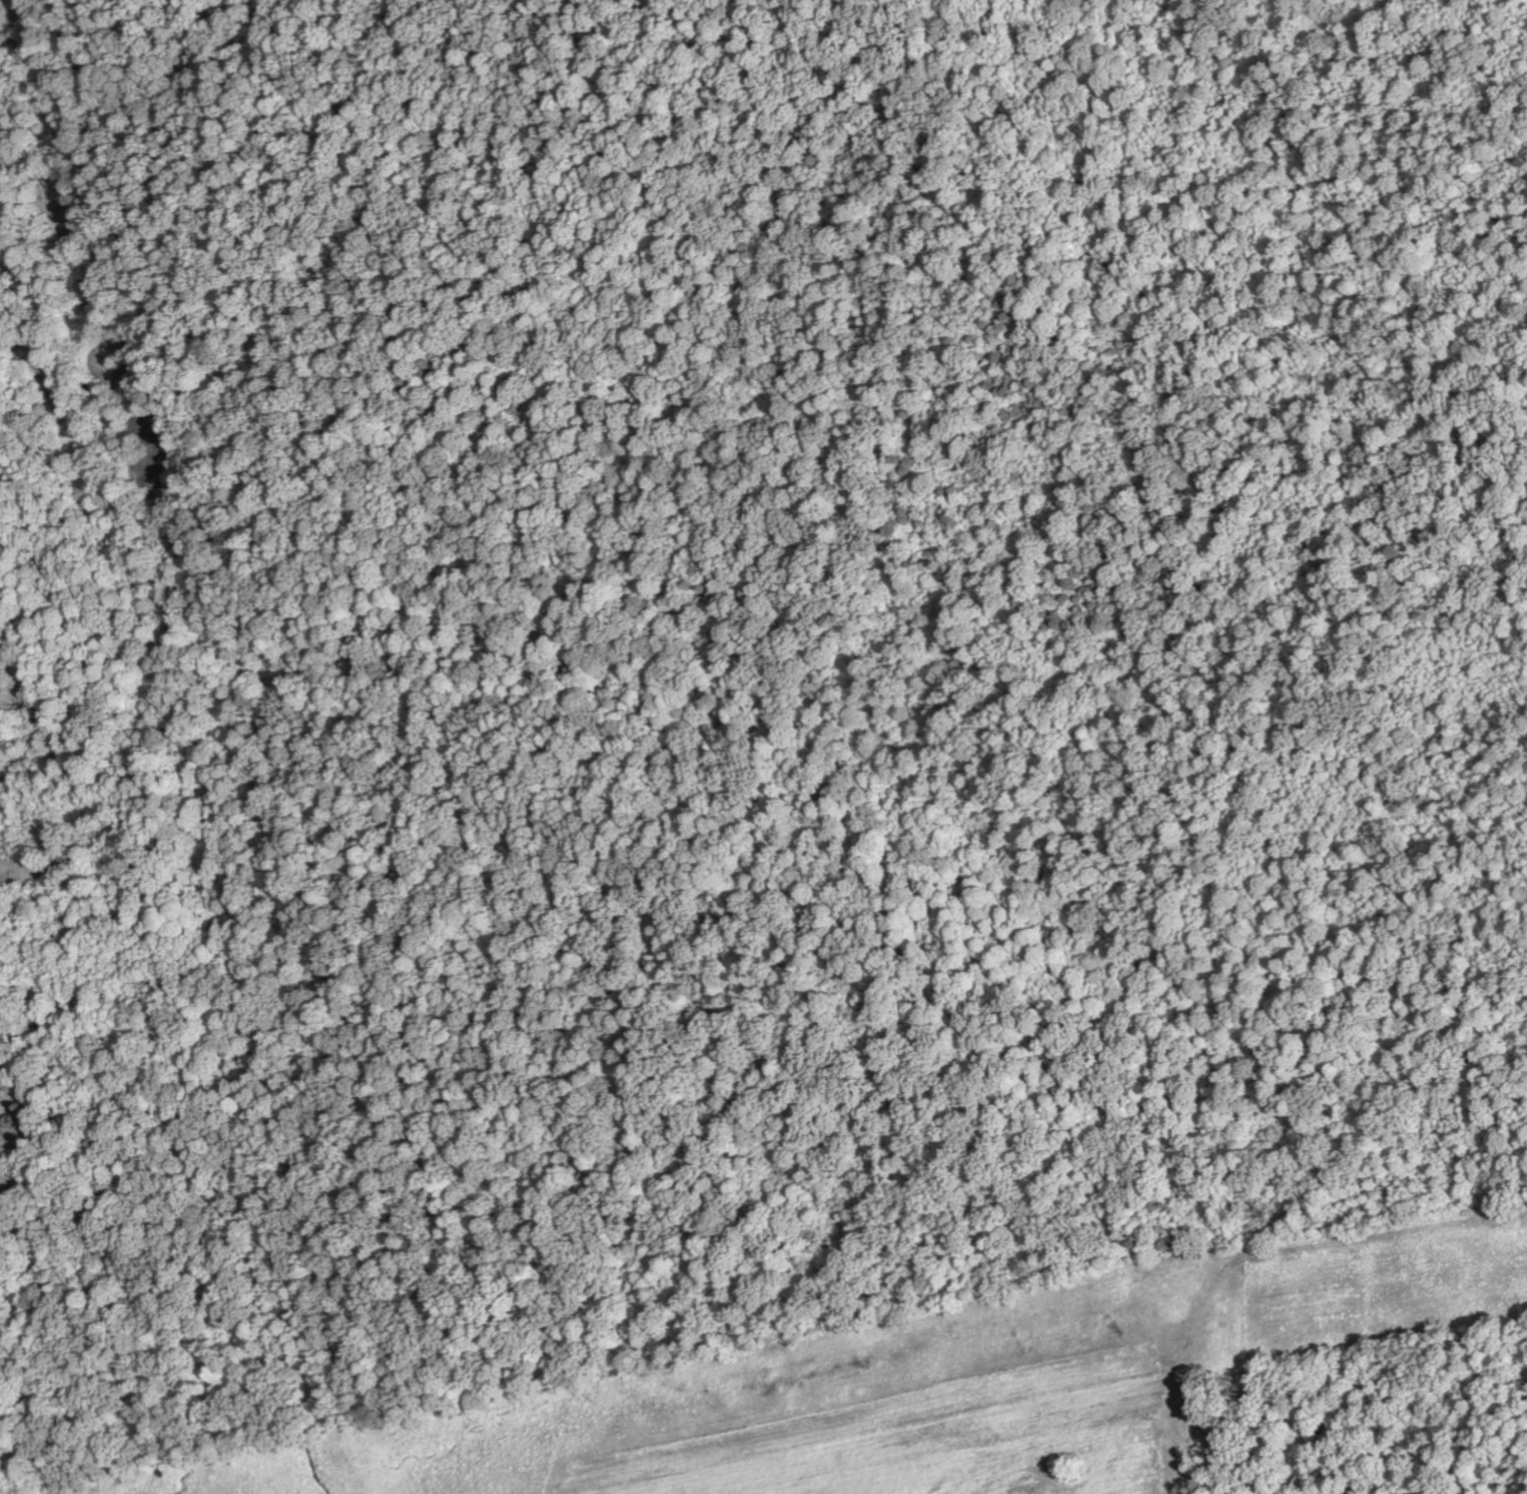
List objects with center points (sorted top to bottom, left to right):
road: (1313, 1209)

